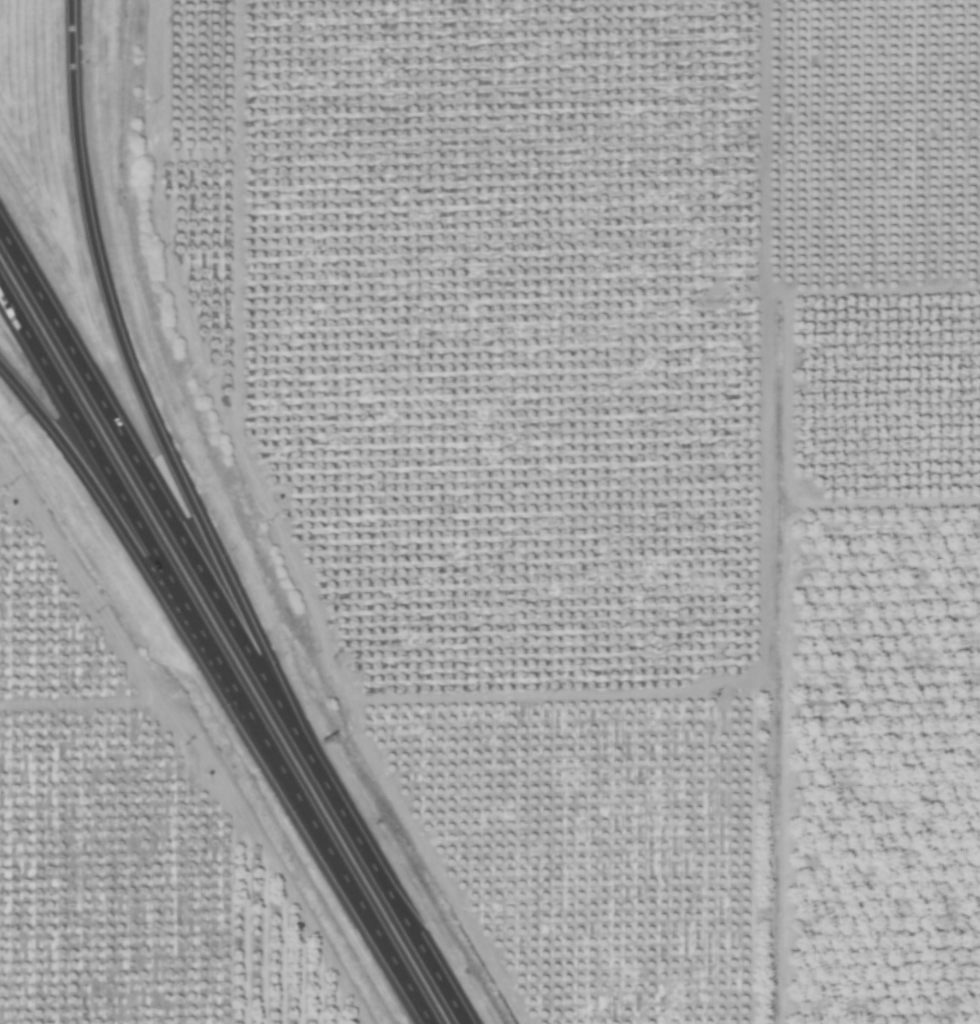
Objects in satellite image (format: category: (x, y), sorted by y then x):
road: (127, 362)
road: (86, 436)
road: (85, 475)
railway: (771, 512)
road: (232, 626)
road: (211, 650)
road: (339, 870)

